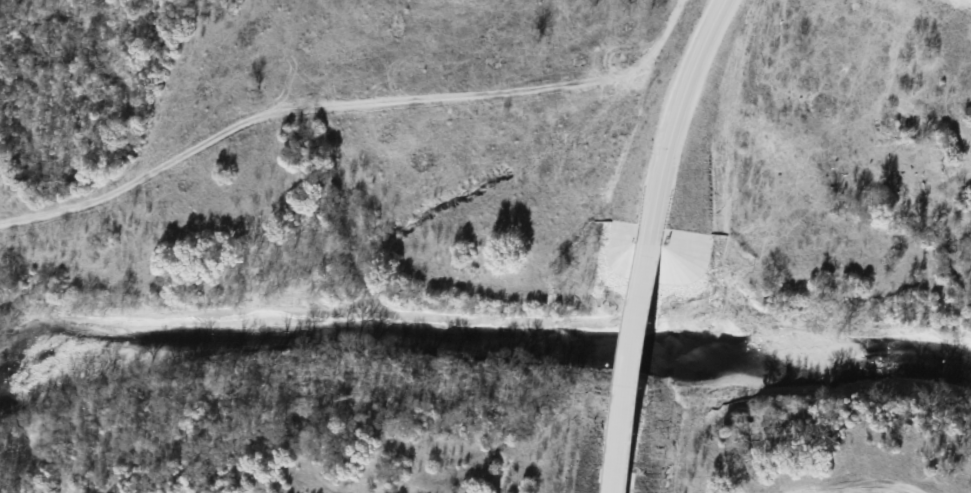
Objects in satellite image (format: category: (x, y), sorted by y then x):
road: (346, 102)
road: (675, 122)
road: (639, 302)
river: (309, 334)
river: (801, 360)
road: (622, 423)

